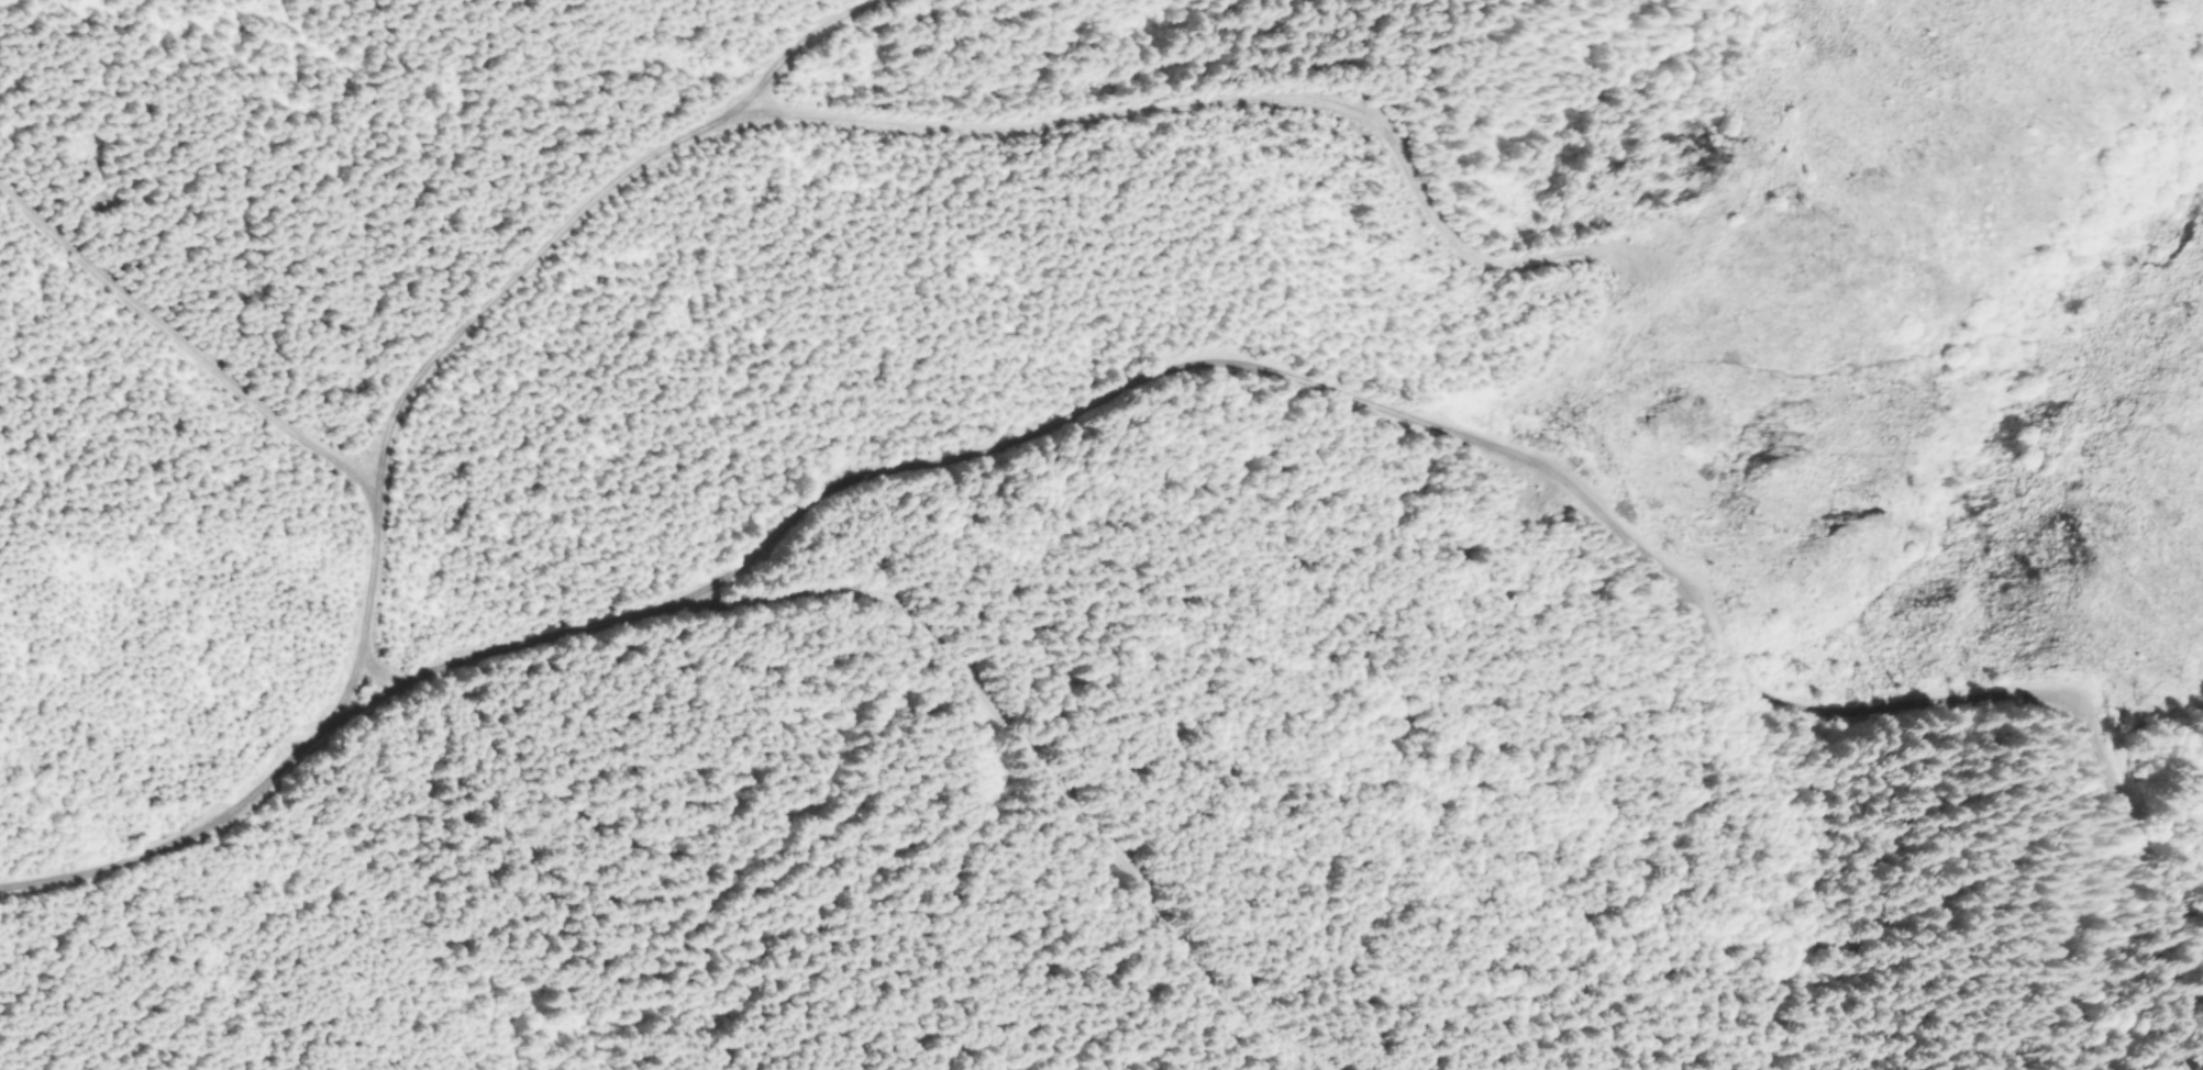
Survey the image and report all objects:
road: (188, 836)

